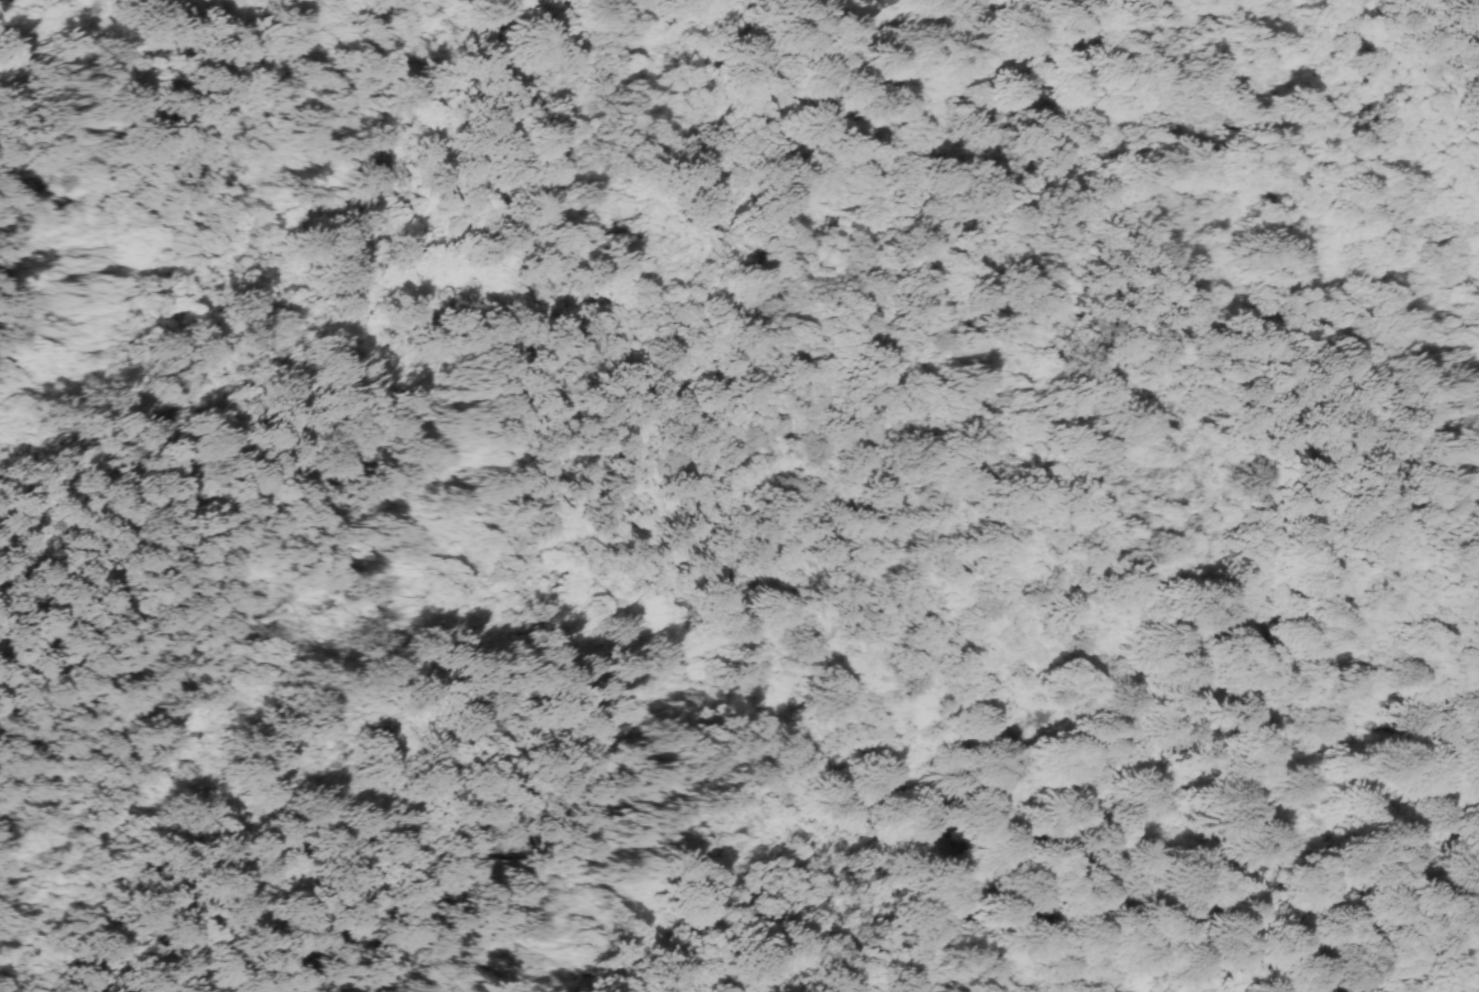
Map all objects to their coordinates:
road: (1461, 15)

